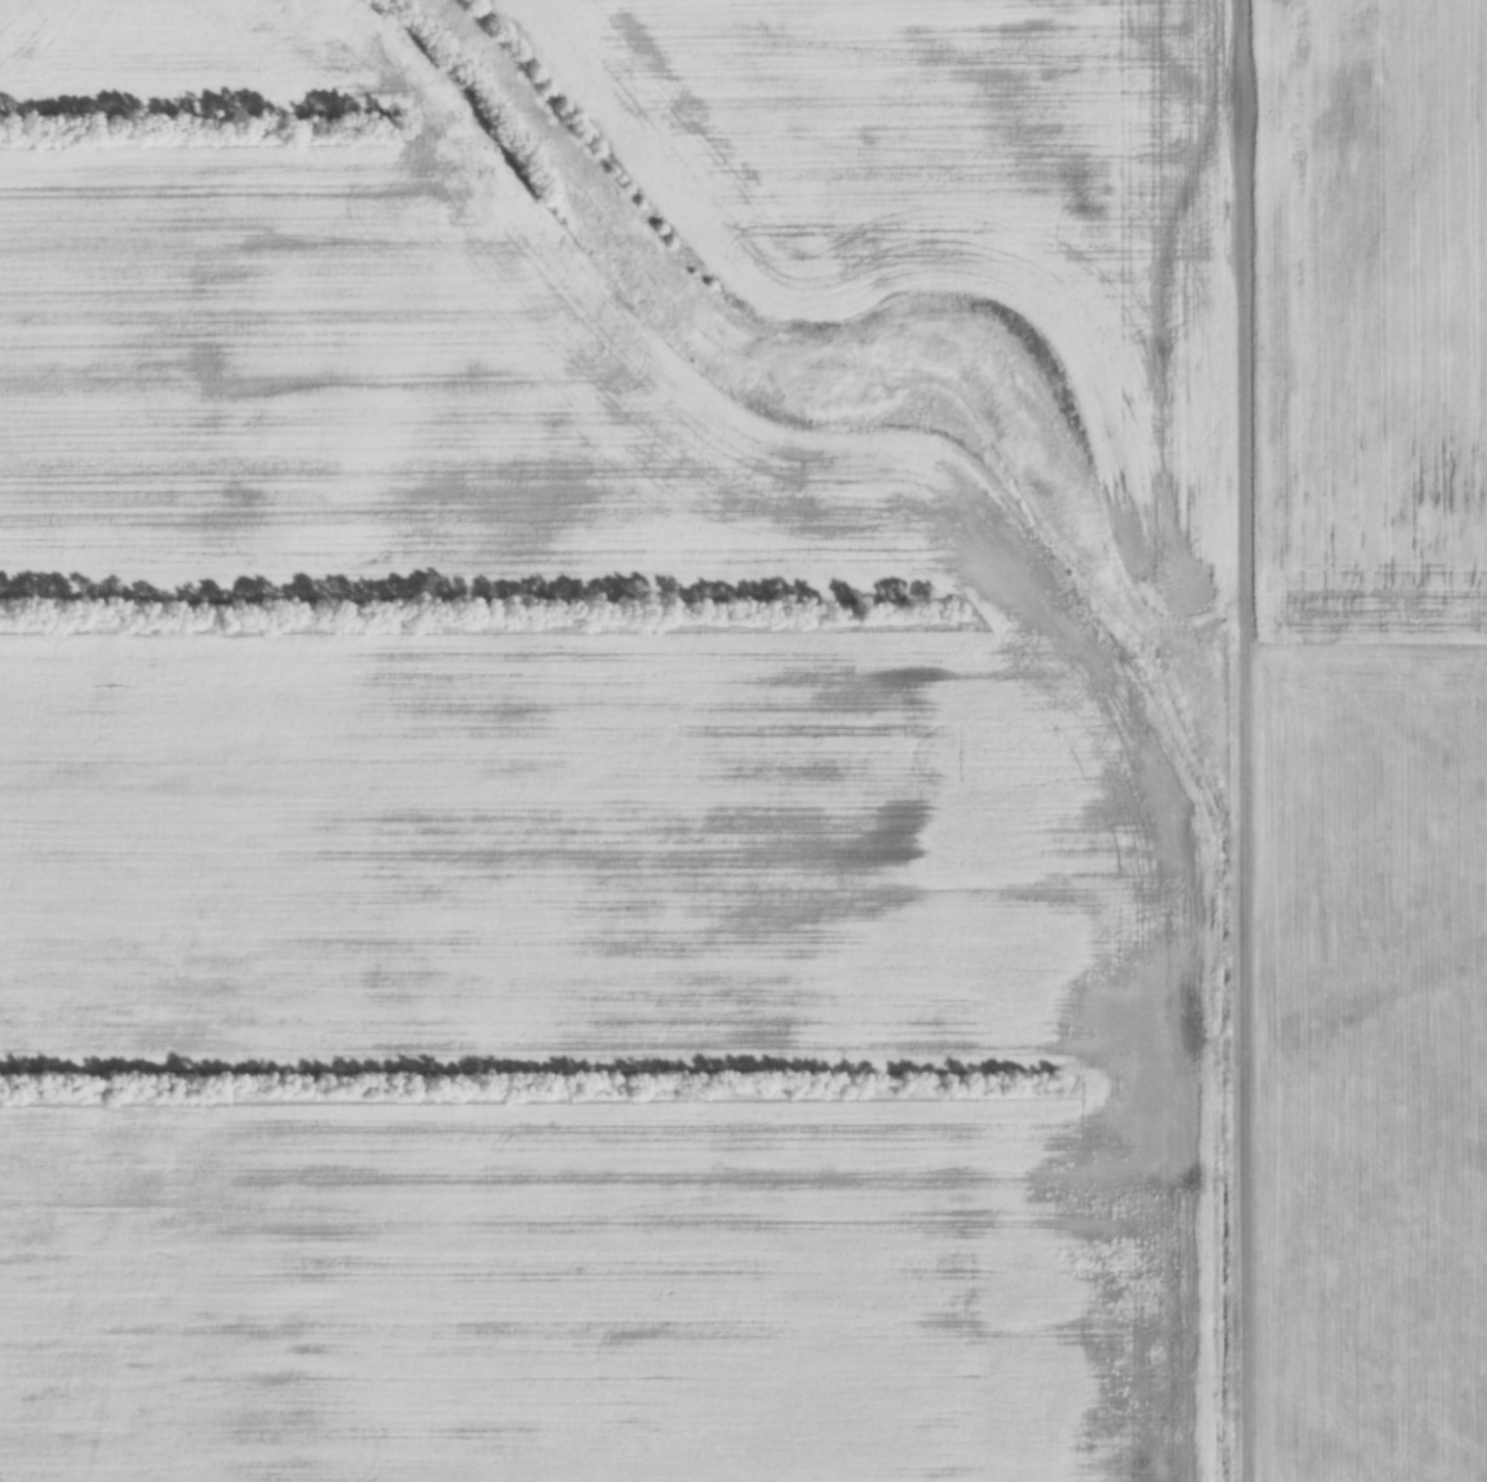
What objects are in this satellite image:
road: (1242, 740)

